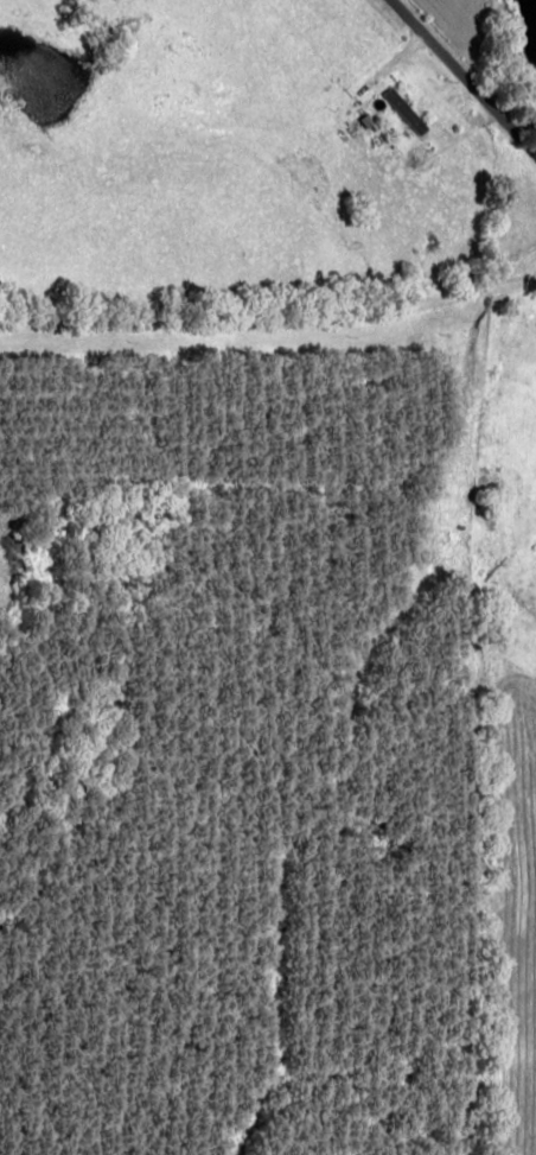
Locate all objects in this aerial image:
road: (447, 106)
building: (400, 110)

